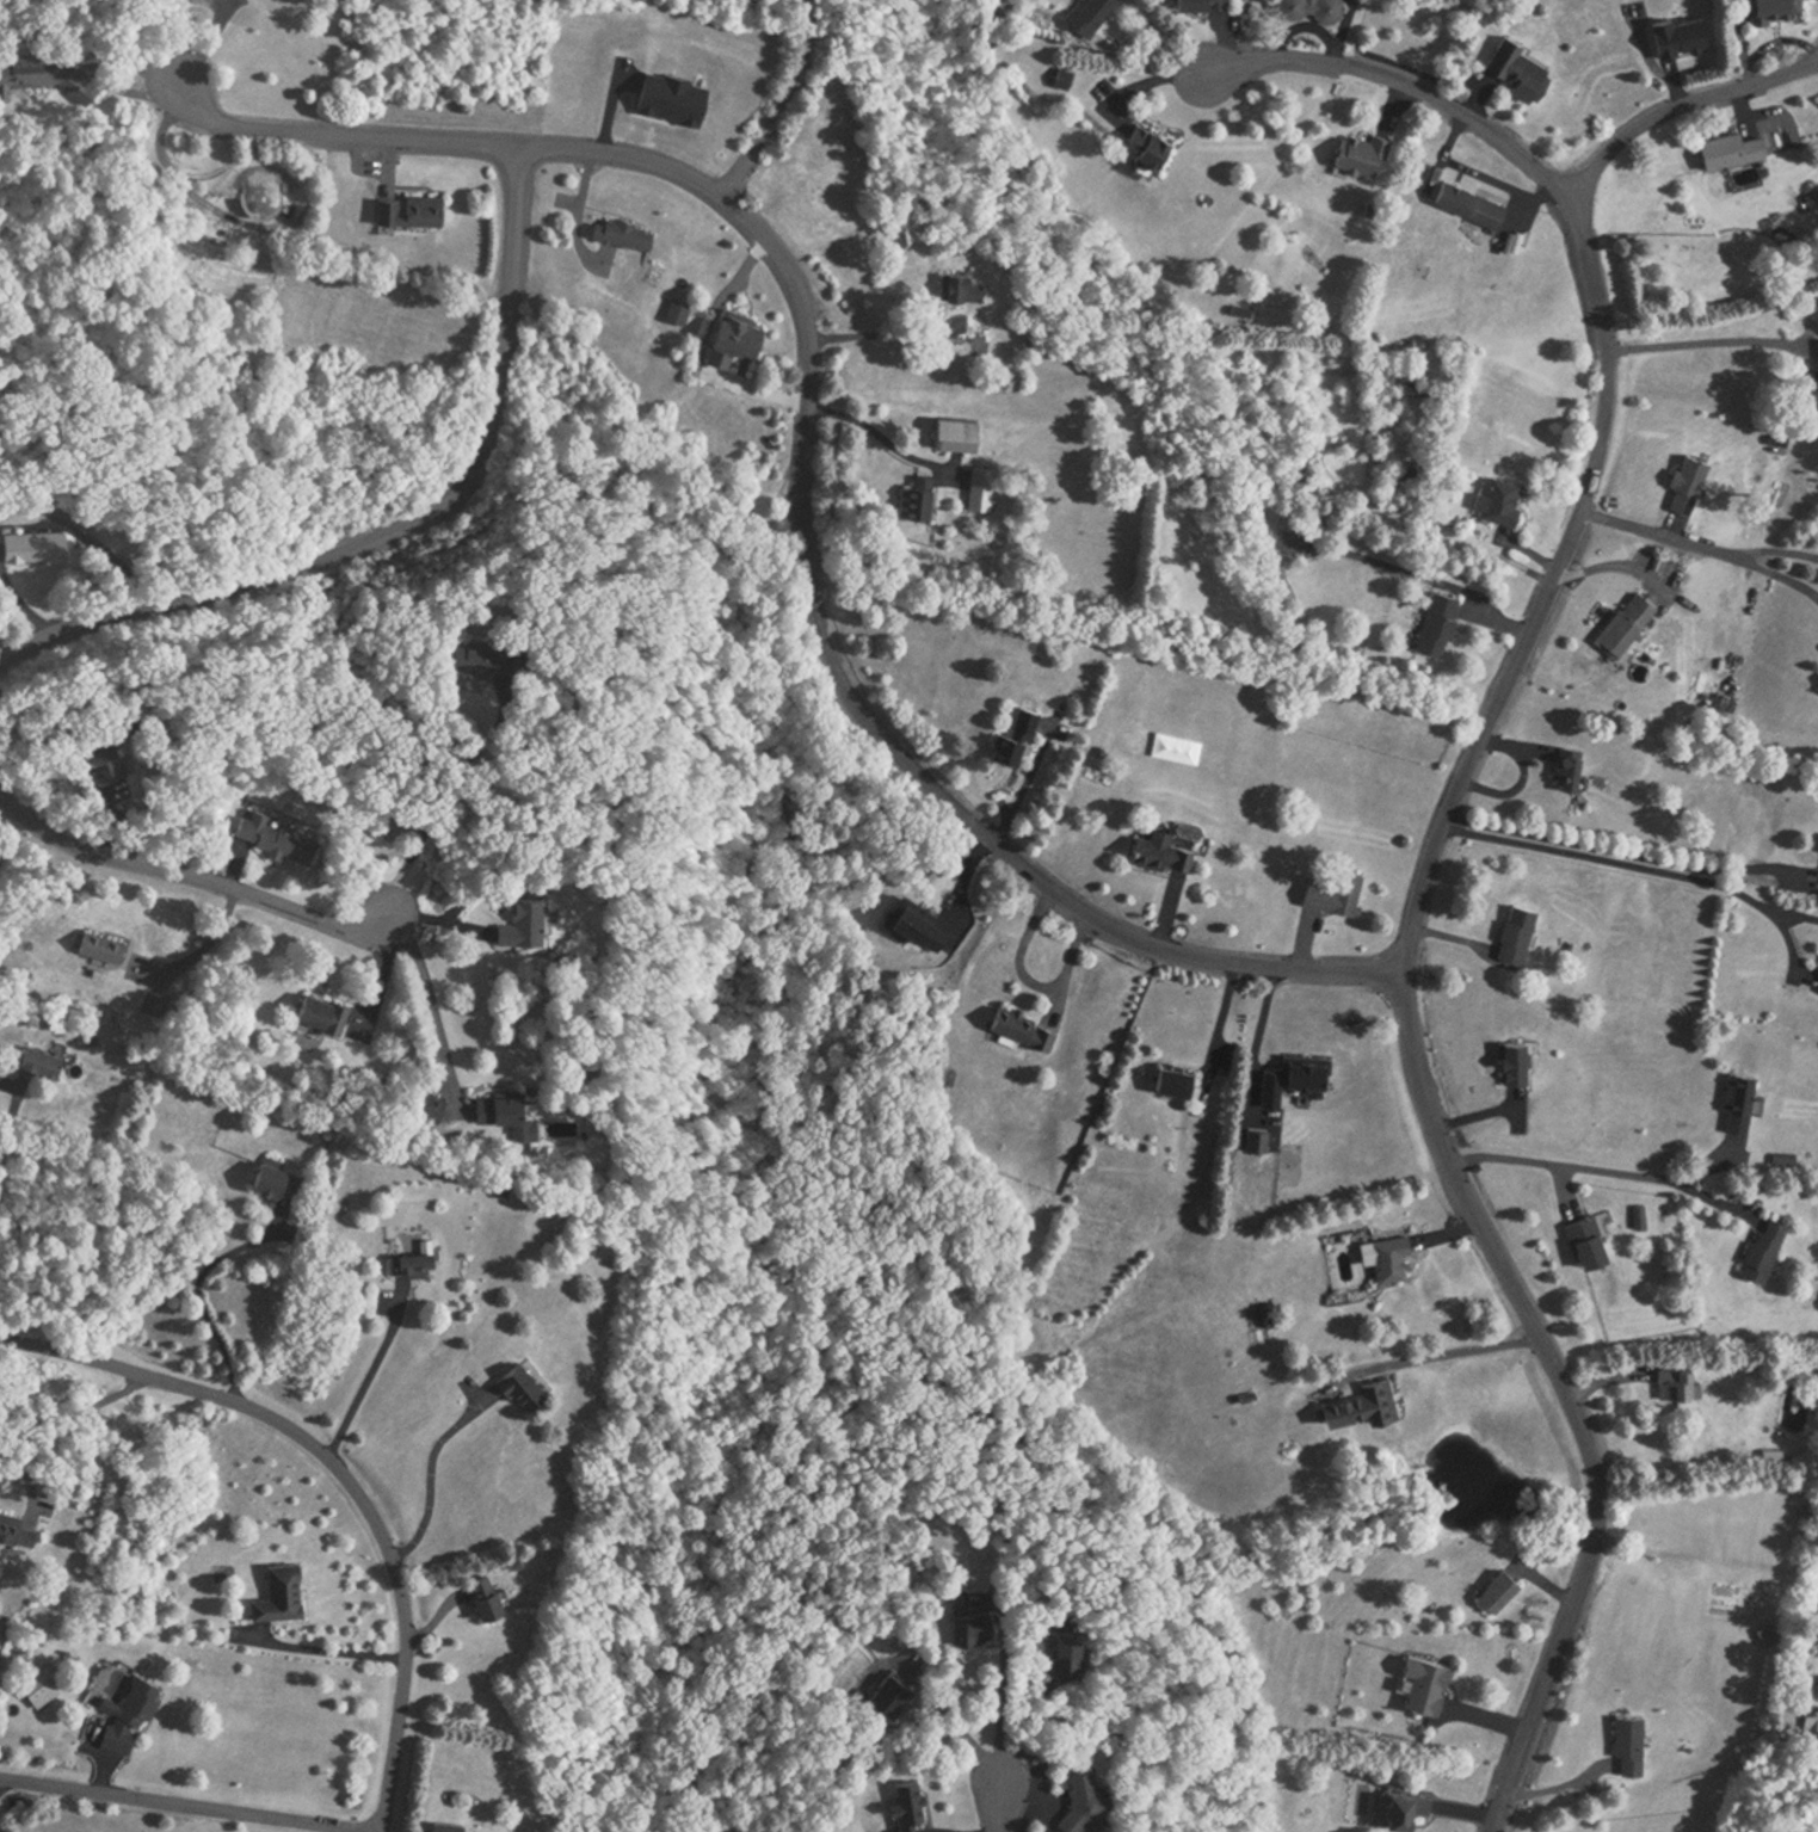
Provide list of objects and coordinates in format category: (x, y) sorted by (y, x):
building: (1202, 4)
building: (1312, 10)
building: (1777, 10)
building: (1089, 14)
road: (1154, 26)
road: (203, 44)
road: (1150, 48)
building: (1522, 68)
building: (33, 76)
road: (784, 105)
road: (1681, 109)
building: (1148, 142)
building: (1732, 148)
building: (1361, 155)
building: (1471, 203)
building: (408, 209)
building: (623, 232)
building: (961, 286)
building: (677, 310)
road: (877, 328)
building: (734, 338)
road: (1701, 341)
building: (1418, 388)
building: (956, 433)
road: (887, 438)
road: (808, 471)
building: (1689, 482)
building: (981, 488)
building: (917, 498)
building: (1503, 500)
road: (393, 526)
road: (1700, 548)
road: (1770, 550)
building: (1626, 623)
building: (1440, 624)
building: (1565, 766)
road: (1024, 784)
road: (436, 803)
road: (1440, 824)
road: (1616, 849)
road: (1629, 865)
road: (190, 877)
road: (430, 997)
road: (13, 1147)
road: (1607, 1183)
road: (1707, 1199)
road: (199, 1283)
road: (1428, 1357)
road: (358, 1389)
road: (73, 1421)
road: (345, 1473)
road: (438, 1489)
road: (325, 1645)
road: (1000, 1696)
road: (1025, 1696)
road: (959, 1731)
road: (2, 1781)
road: (1561, 1793)
road: (177, 1805)
road: (998, 1814)

